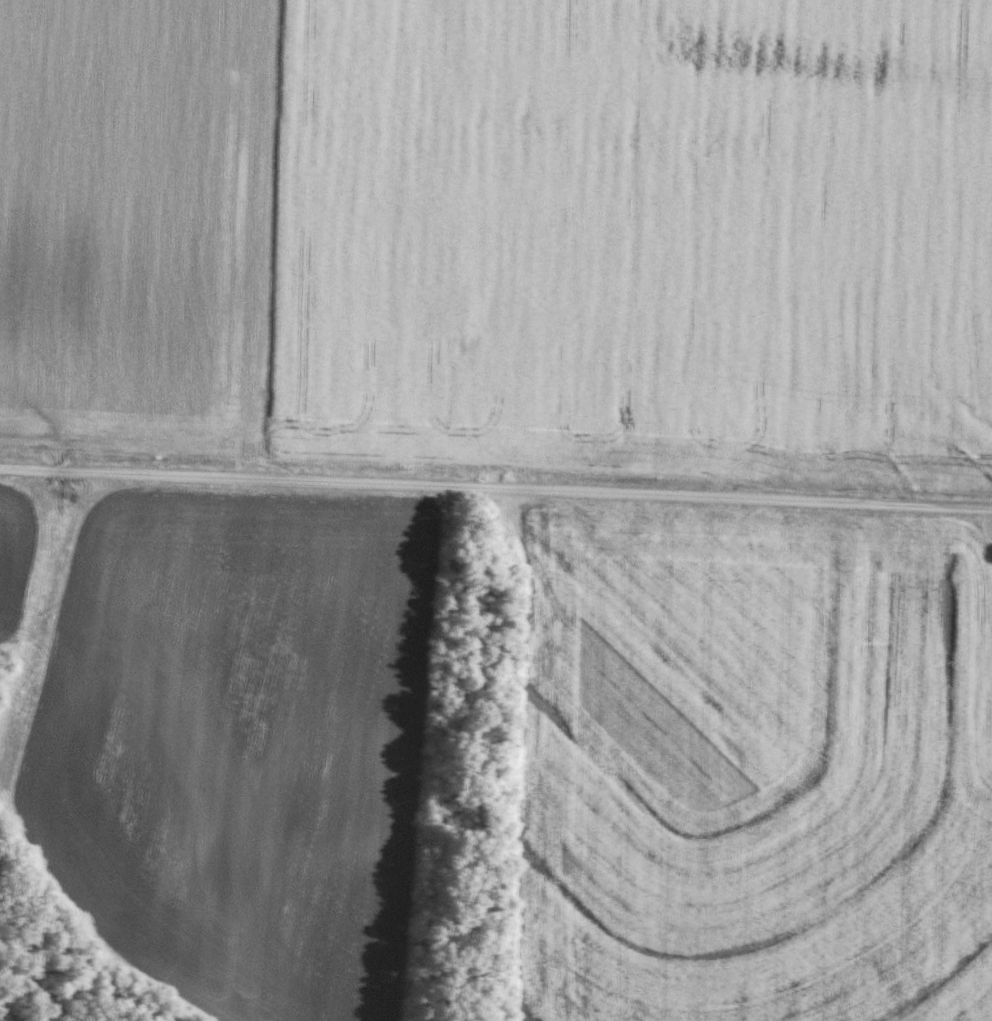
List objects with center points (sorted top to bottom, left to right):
road: (495, 488)

